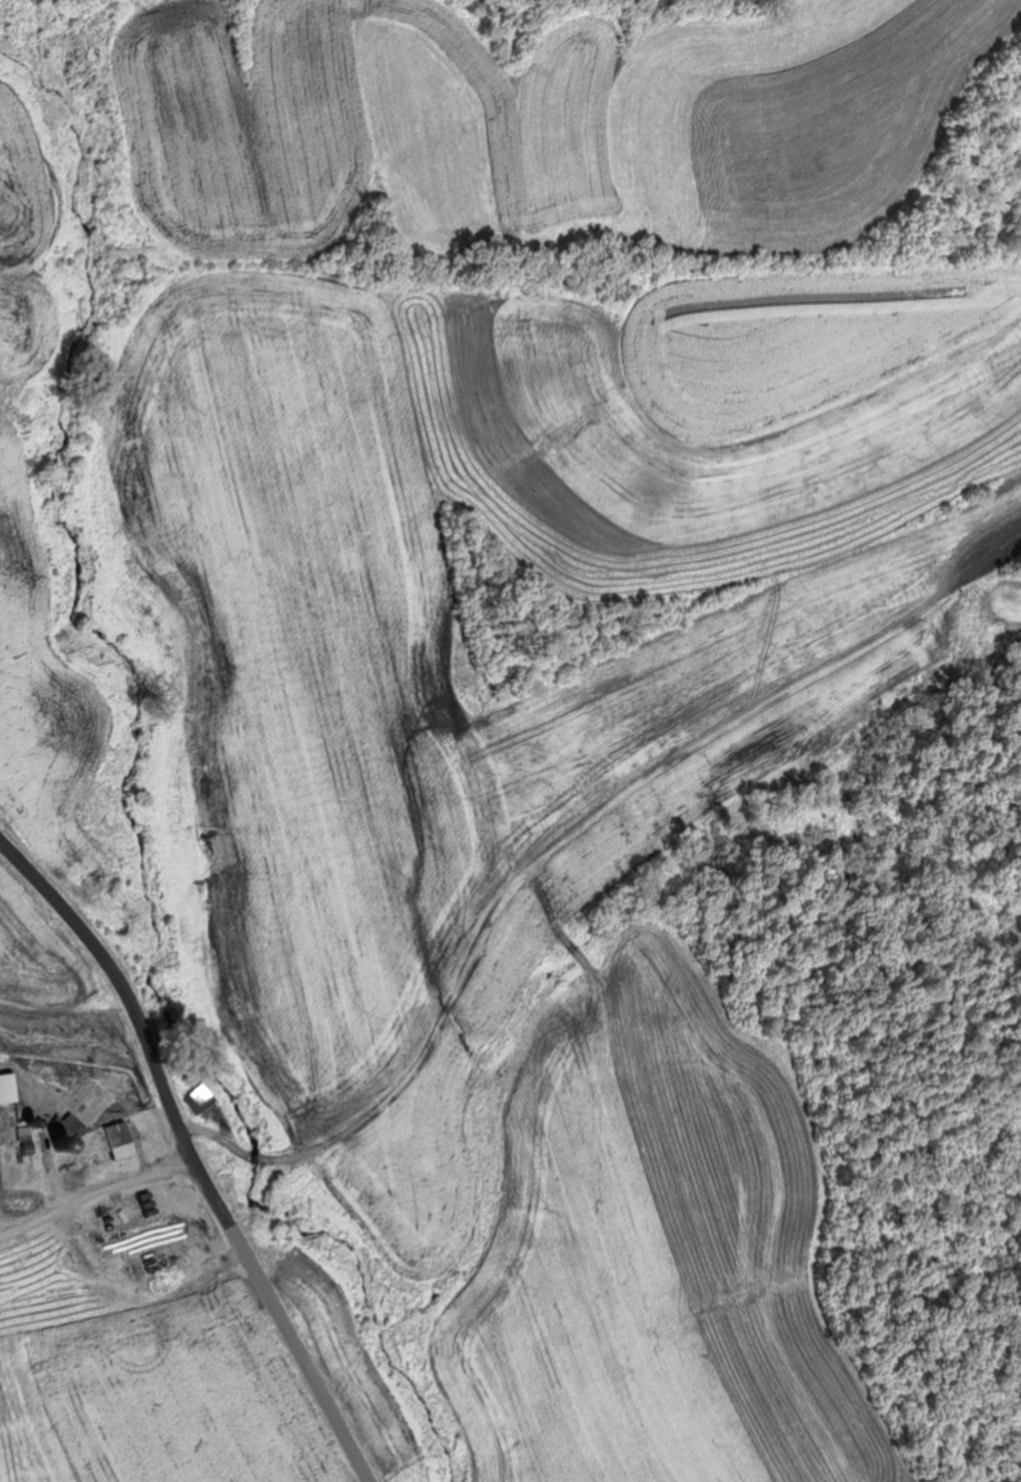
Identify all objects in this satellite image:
building: (197, 1097)
building: (79, 1108)
building: (10, 1118)
building: (122, 1144)
road: (147, 1163)
building: (23, 1194)
road: (75, 1207)
building: (6, 1237)
building: (53, 1287)

